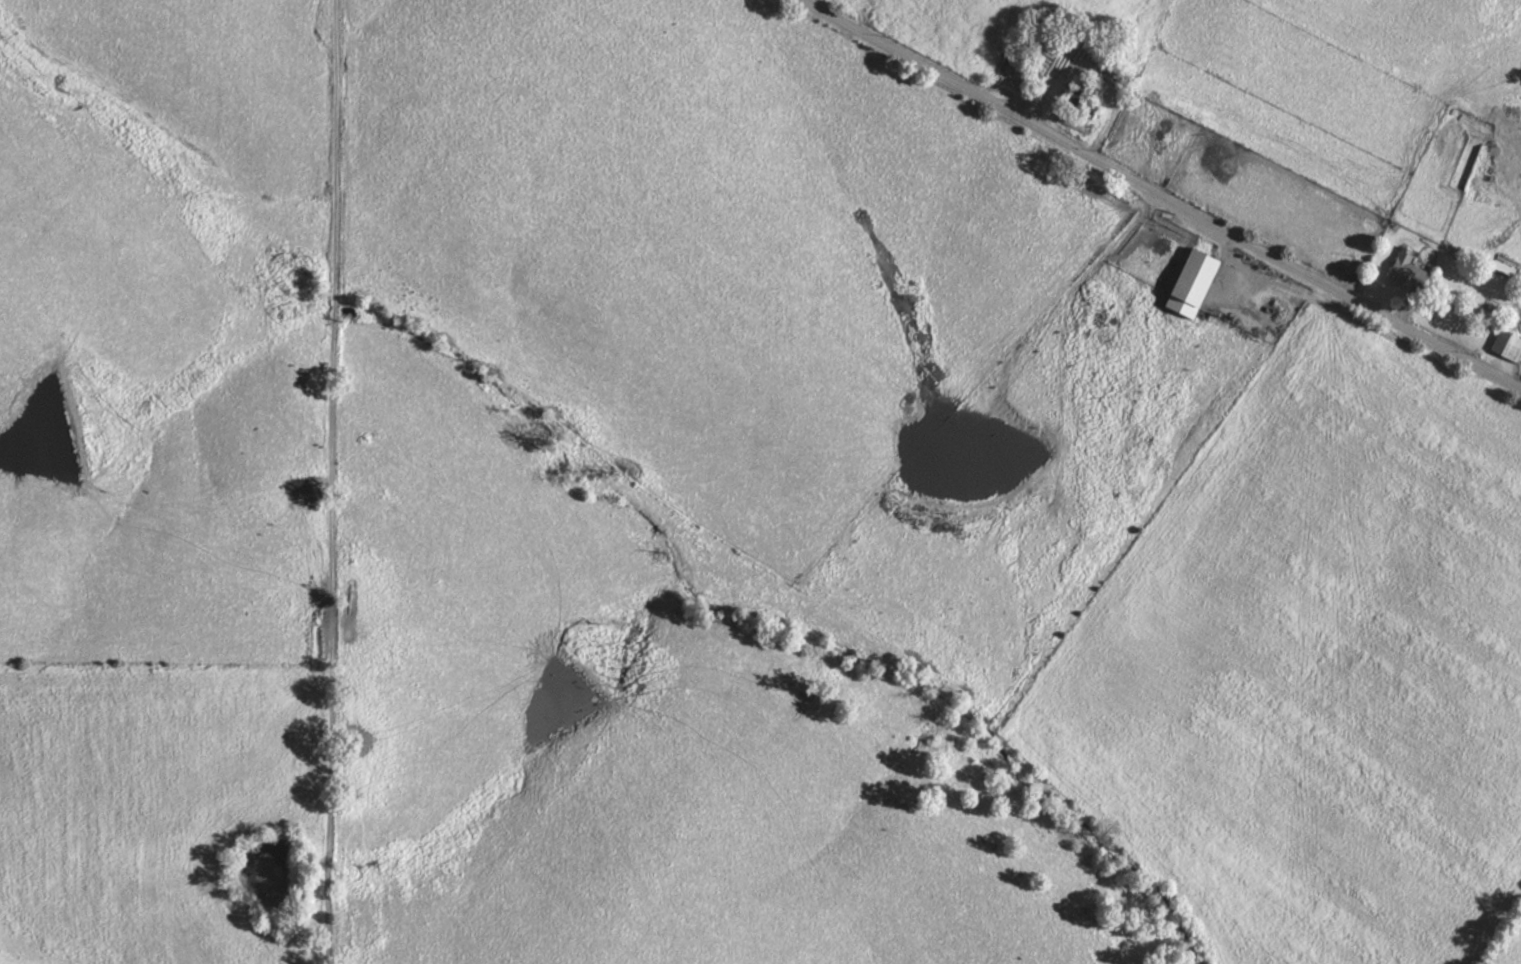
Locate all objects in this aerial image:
building: (1016, 67)
road: (1159, 196)
building: (1405, 265)
building: (1503, 266)
building: (1196, 283)
building: (1509, 344)
road: (332, 481)

